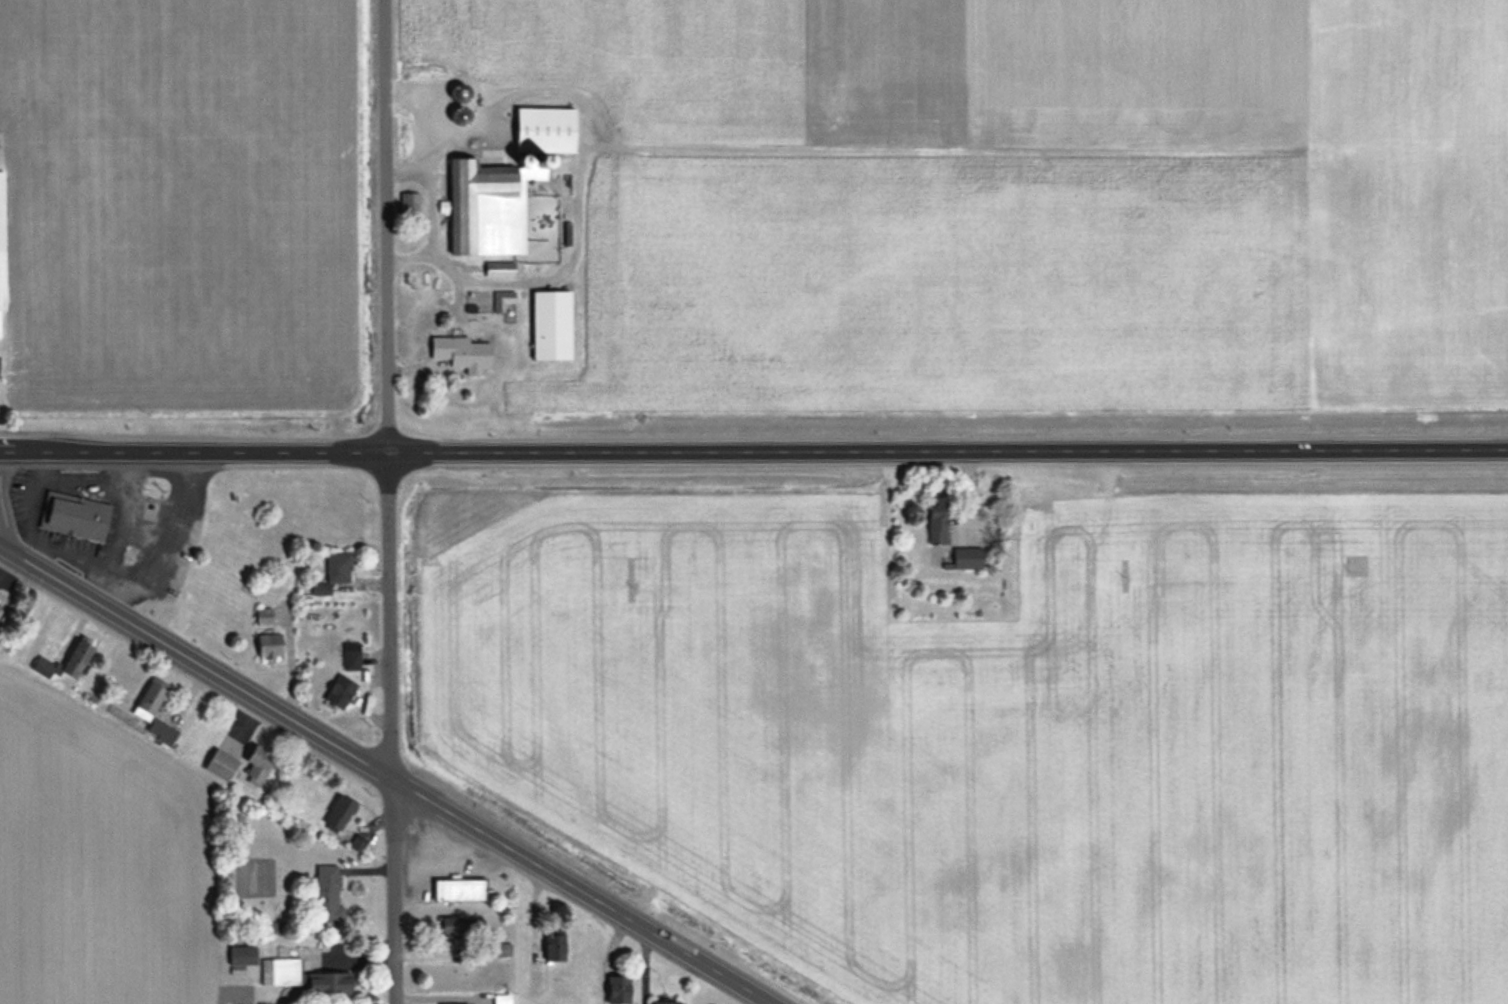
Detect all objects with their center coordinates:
building: (505, 185)
building: (2, 244)
building: (499, 268)
building: (551, 325)
building: (462, 352)
road: (753, 452)
road: (388, 502)
building: (76, 517)
building: (937, 519)
building: (967, 557)
building: (338, 566)
building: (263, 615)
building: (269, 644)
building: (351, 654)
building: (77, 657)
building: (44, 666)
building: (340, 689)
building: (155, 710)
building: (220, 763)
building: (258, 763)
road: (384, 774)
building: (338, 812)
building: (458, 889)
building: (326, 893)
building: (458, 925)
building: (553, 947)
building: (242, 955)
building: (280, 971)
building: (329, 983)
building: (618, 988)
building: (665, 1002)

